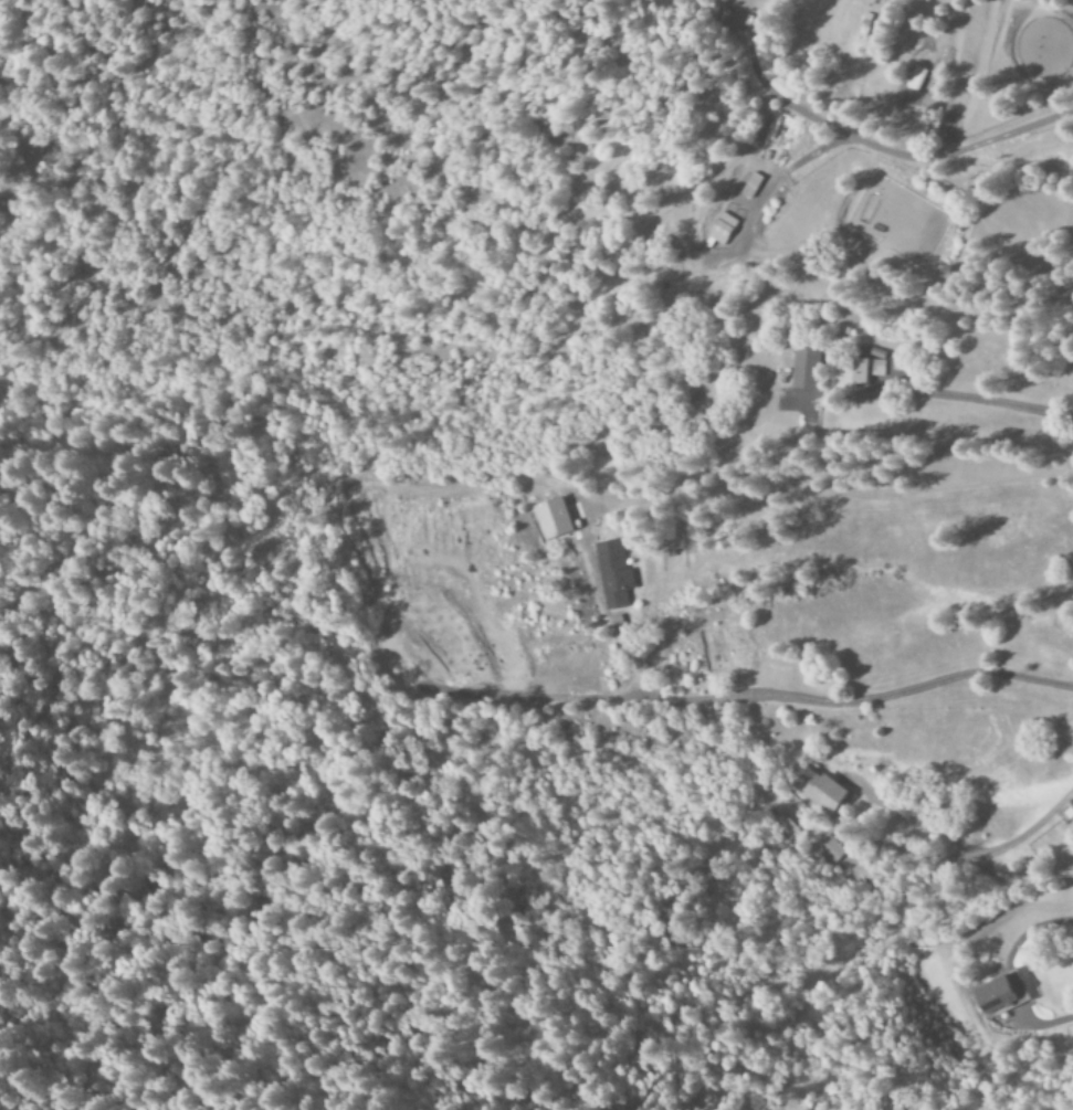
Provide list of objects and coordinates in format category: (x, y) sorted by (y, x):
building: (733, 21)
building: (917, 78)
building: (725, 230)
building: (808, 367)
building: (862, 373)
road: (953, 397)
building: (556, 519)
building: (616, 574)
building: (819, 791)
building: (828, 850)
building: (1001, 994)

